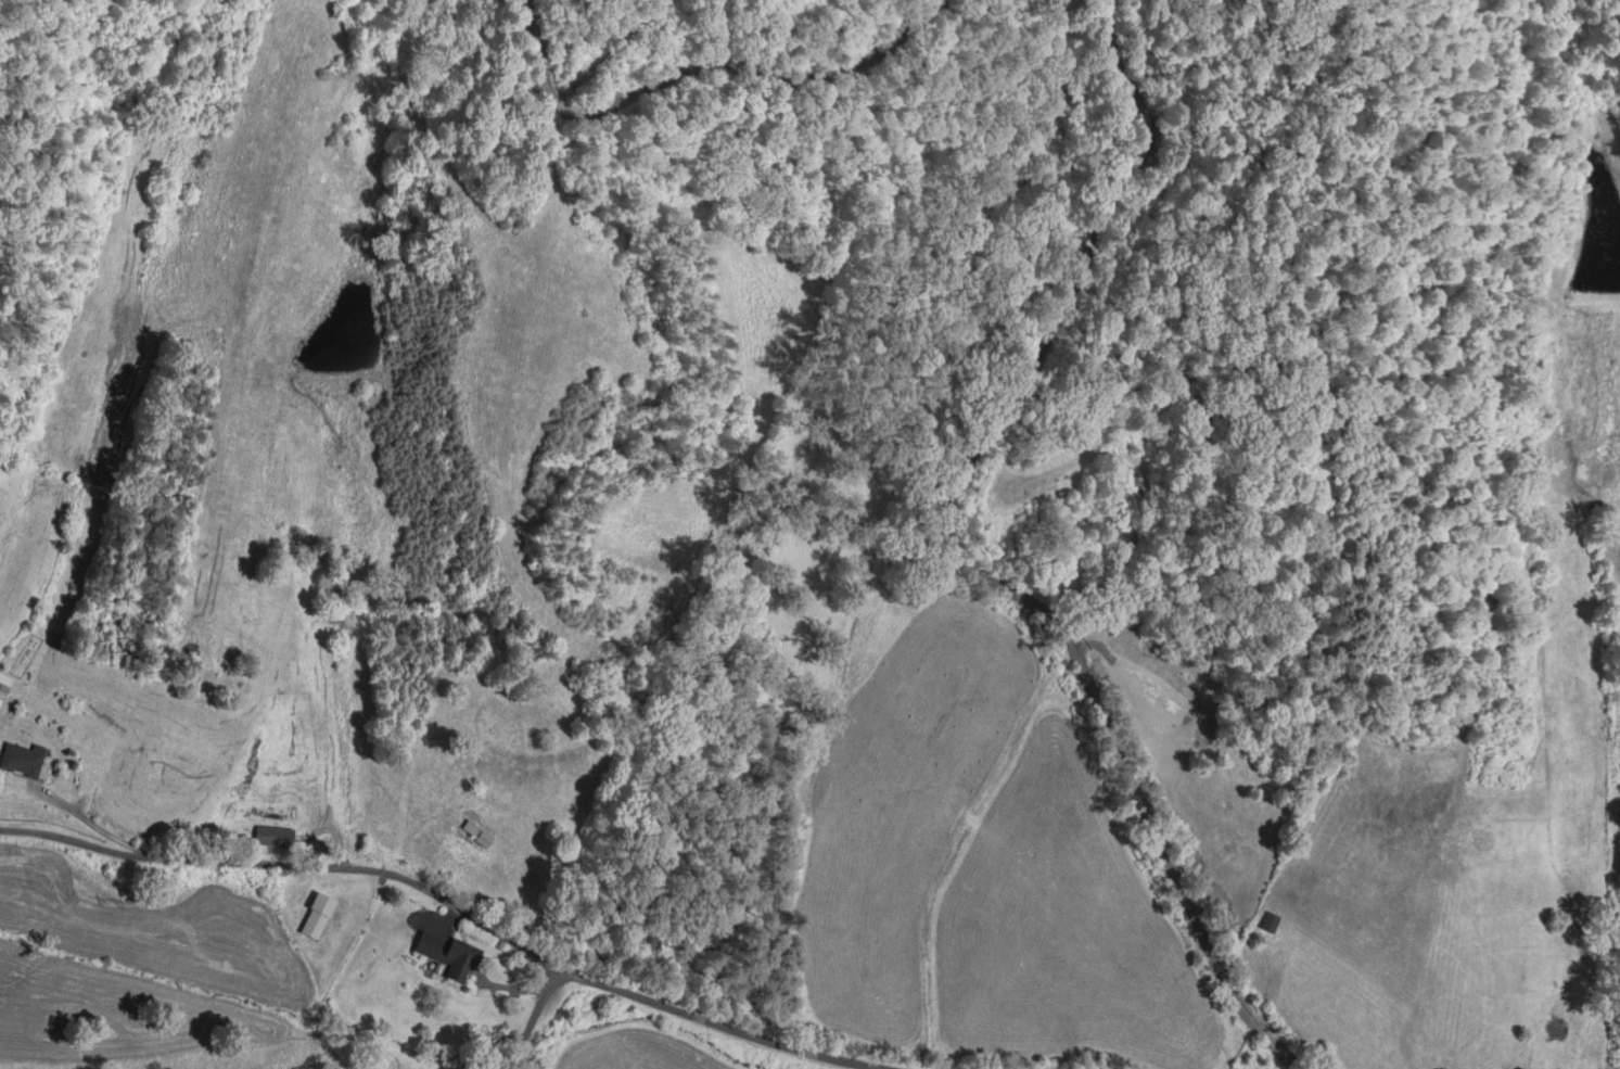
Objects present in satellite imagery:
road: (609, 44)
road: (710, 66)
road: (962, 558)
building: (21, 759)
road: (85, 814)
building: (471, 833)
building: (269, 836)
road: (455, 906)
building: (314, 915)
road: (446, 918)
building: (1266, 921)
building: (425, 944)
building: (457, 960)
road: (509, 985)
road: (533, 1018)

